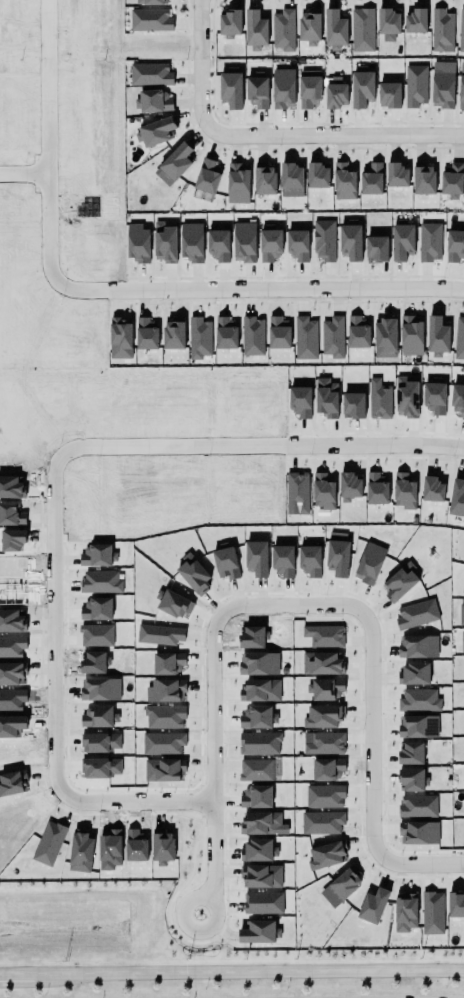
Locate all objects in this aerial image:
building: (149, 1)
building: (150, 20)
building: (414, 20)
building: (388, 21)
building: (228, 23)
building: (309, 27)
building: (255, 28)
building: (362, 28)
building: (440, 28)
building: (283, 30)
building: (335, 30)
building: (460, 30)
road: (201, 64)
building: (150, 74)
building: (442, 84)
building: (414, 85)
building: (363, 86)
building: (283, 88)
building: (229, 90)
building: (255, 91)
building: (308, 91)
building: (460, 92)
building: (336, 93)
building: (388, 94)
building: (153, 101)
road: (48, 109)
building: (155, 132)
road: (335, 134)
building: (174, 164)
building: (395, 175)
building: (317, 176)
building: (207, 177)
building: (371, 177)
building: (265, 179)
building: (292, 180)
building: (424, 180)
building: (451, 181)
building: (344, 182)
building: (238, 183)
building: (324, 240)
building: (190, 241)
building: (402, 241)
building: (137, 242)
building: (164, 242)
building: (244, 242)
building: (351, 242)
building: (429, 242)
building: (218, 245)
building: (270, 245)
building: (297, 245)
building: (455, 245)
building: (376, 248)
road: (50, 250)
road: (285, 288)
building: (145, 331)
building: (358, 332)
building: (226, 333)
building: (279, 333)
building: (173, 335)
building: (411, 335)
building: (253, 336)
building: (303, 336)
building: (384, 336)
building: (332, 337)
building: (437, 337)
building: (120, 338)
building: (199, 338)
building: (459, 338)
building: (326, 396)
building: (407, 396)
building: (434, 398)
building: (300, 399)
building: (379, 400)
building: (457, 400)
building: (353, 405)
road: (165, 444)
road: (382, 446)
building: (433, 486)
building: (349, 487)
building: (376, 489)
building: (323, 491)
building: (404, 491)
building: (297, 493)
building: (457, 494)
building: (309, 558)
building: (338, 558)
building: (369, 563)
building: (400, 582)
building: (463, 590)
building: (415, 612)
building: (461, 614)
building: (324, 635)
building: (462, 645)
building: (12, 646)
building: (418, 646)
building: (259, 663)
building: (322, 664)
building: (11, 673)
building: (414, 673)
building: (325, 686)
building: (100, 689)
building: (260, 690)
building: (416, 697)
building: (322, 713)
road: (53, 715)
building: (98, 716)
building: (258, 716)
road: (212, 717)
building: (416, 725)
building: (101, 742)
building: (325, 742)
building: (411, 753)
road: (362, 755)
building: (100, 767)
building: (328, 769)
building: (256, 770)
building: (412, 780)
building: (325, 796)
building: (257, 797)
building: (418, 806)
building: (462, 808)
building: (322, 822)
building: (260, 823)
building: (418, 833)
building: (258, 850)
building: (326, 855)
building: (261, 876)
building: (345, 883)
building: (263, 903)
building: (456, 904)
building: (373, 906)
building: (405, 912)
building: (432, 912)
building: (259, 932)
road: (248, 972)
road: (2, 974)
road: (18, 974)

